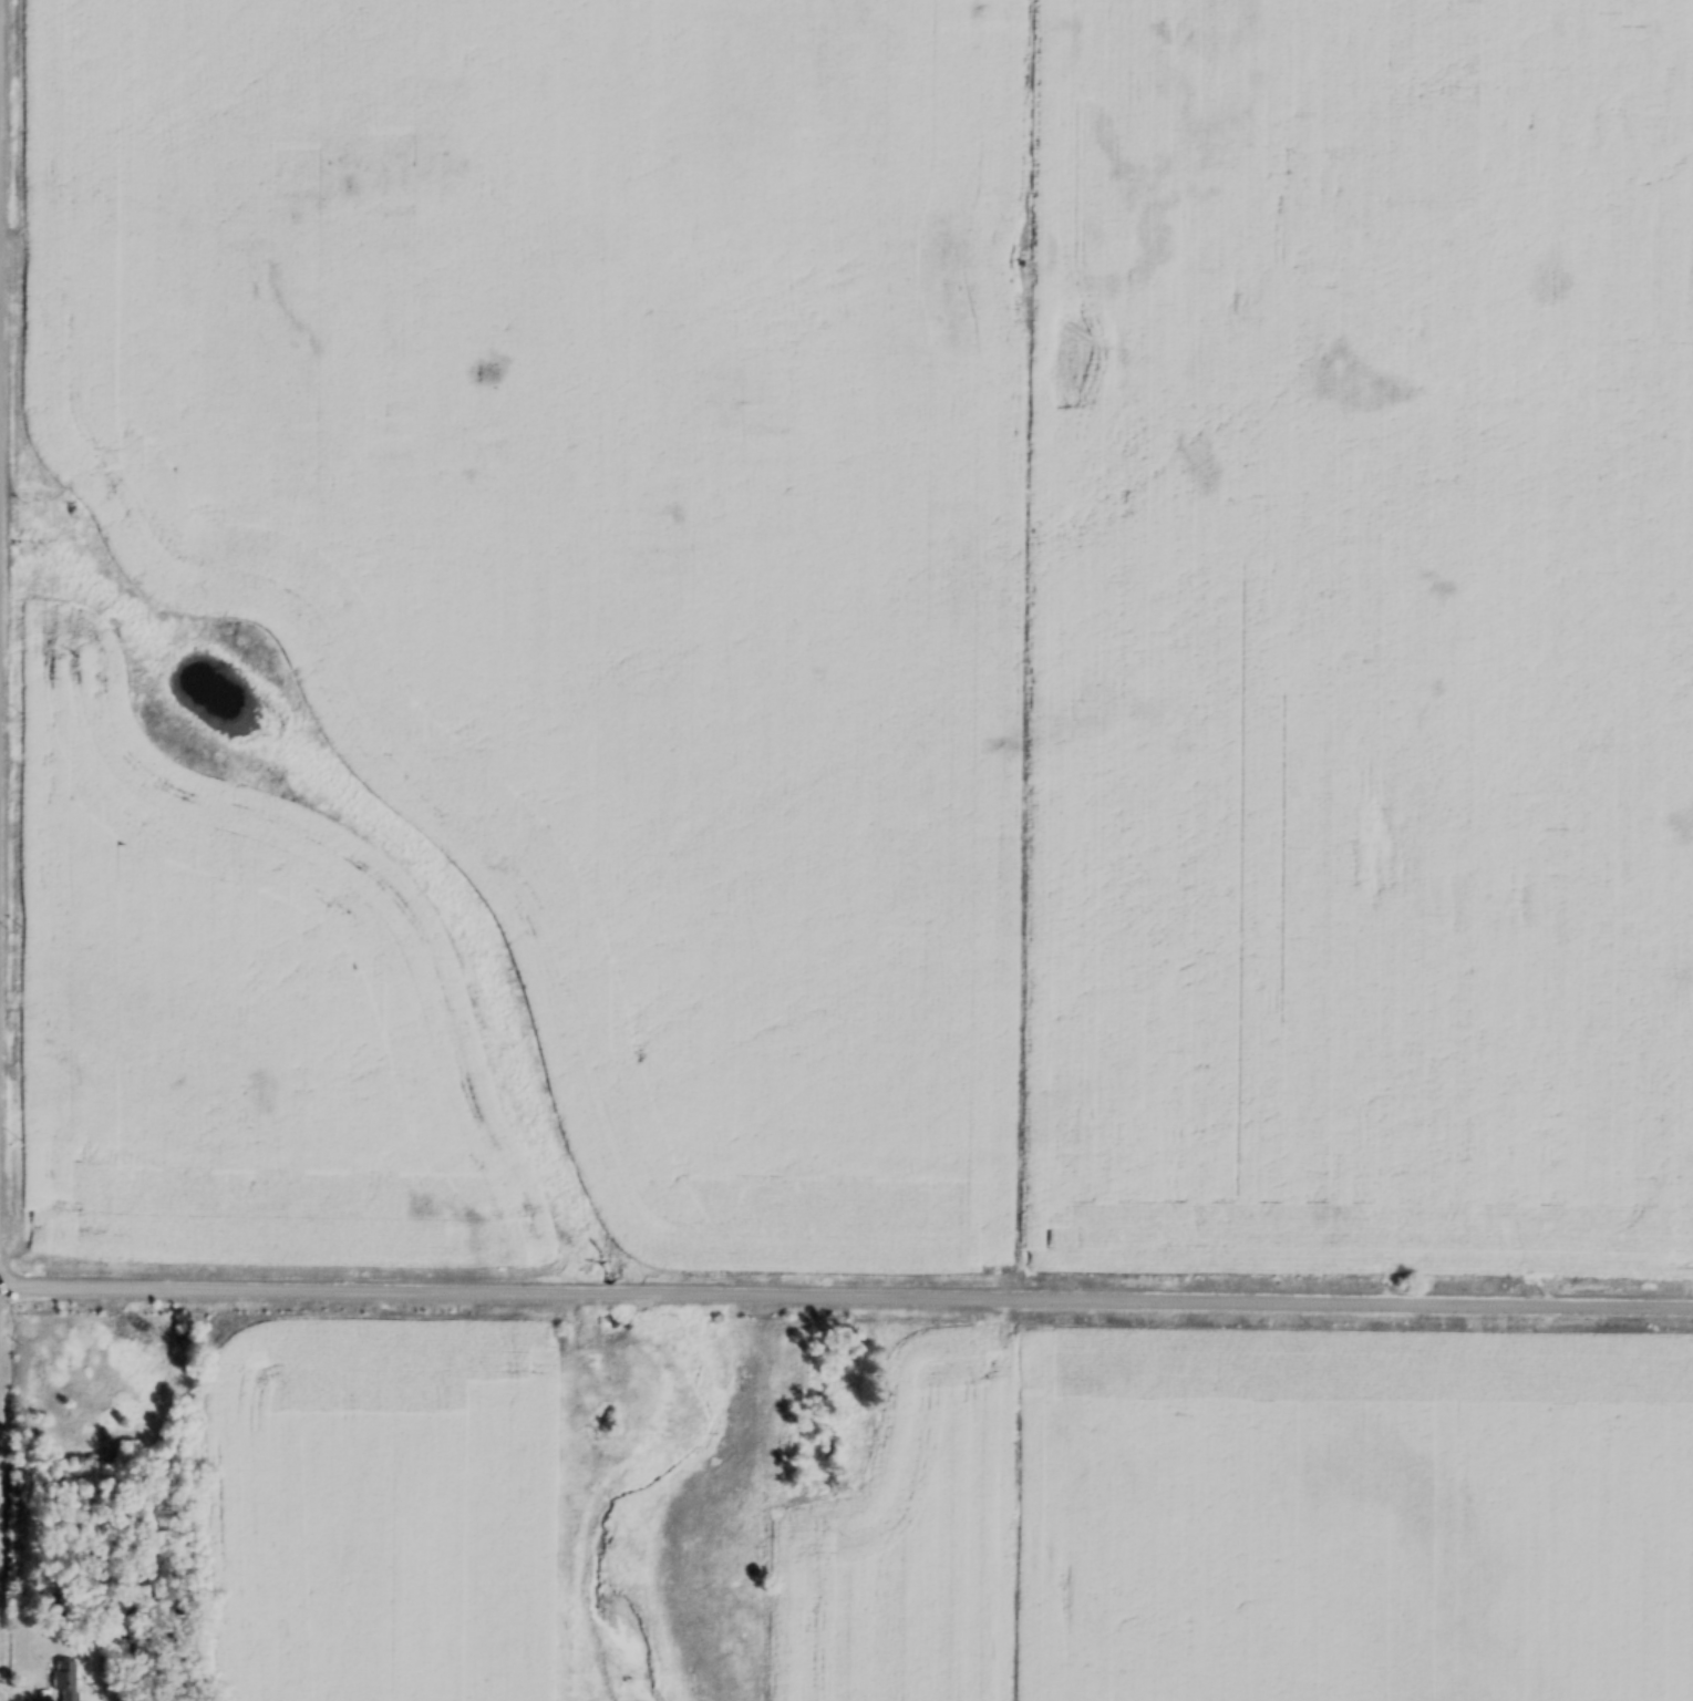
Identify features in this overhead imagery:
road: (846, 1299)
building: (63, 1677)

